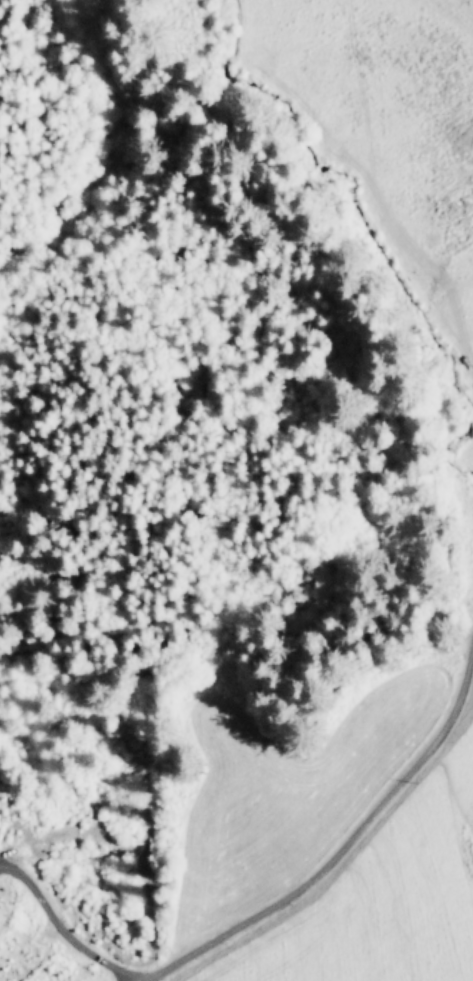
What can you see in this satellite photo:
road: (331, 854)

